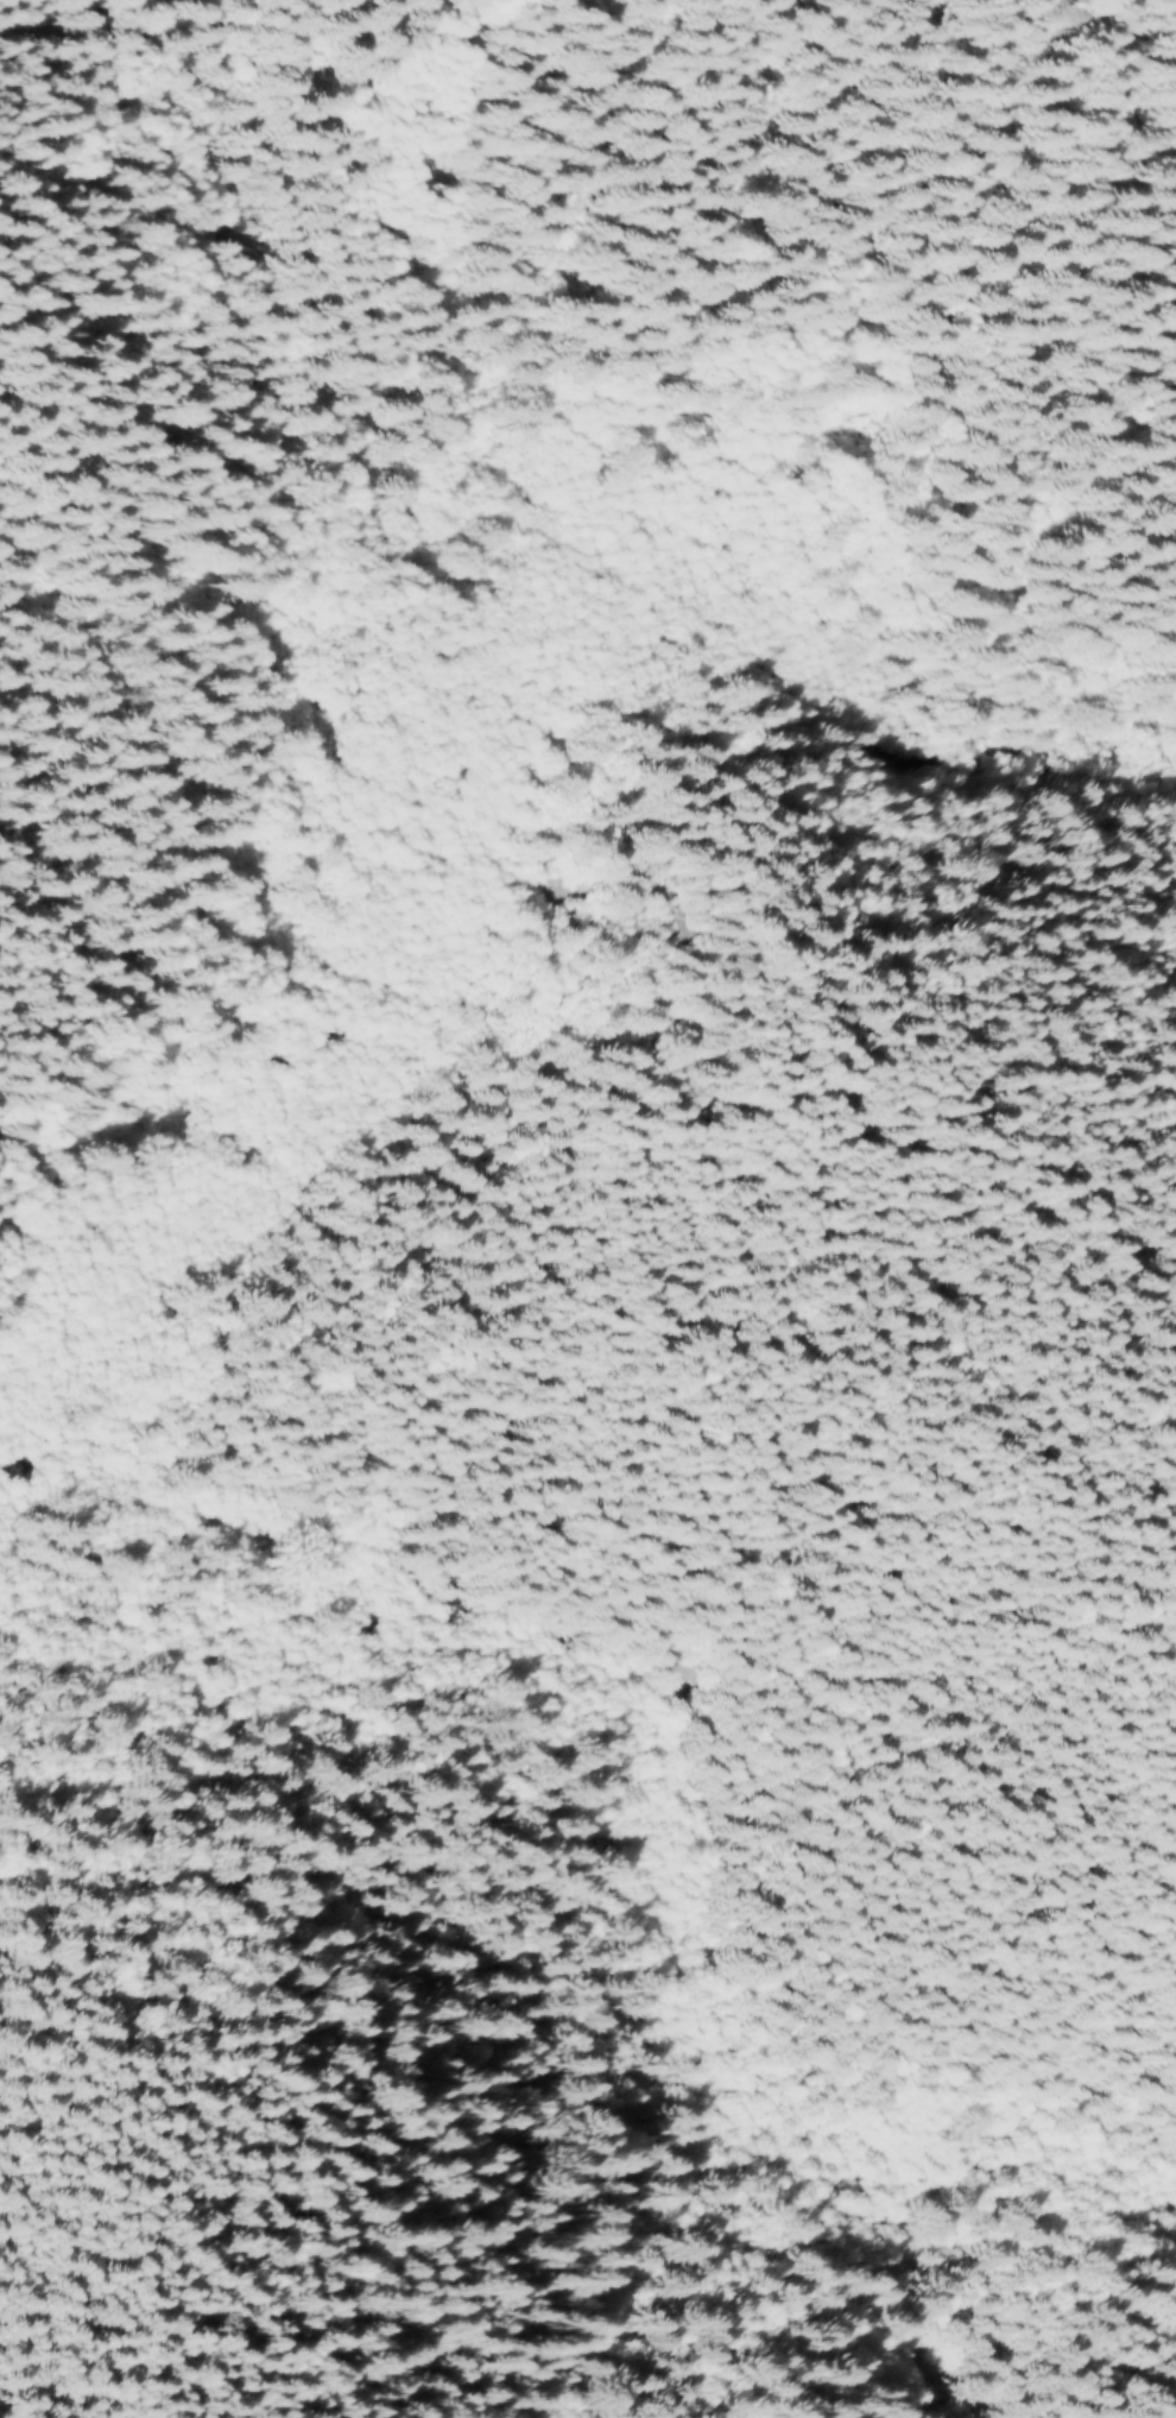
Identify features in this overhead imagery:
road: (455, 437)
river: (426, 720)

